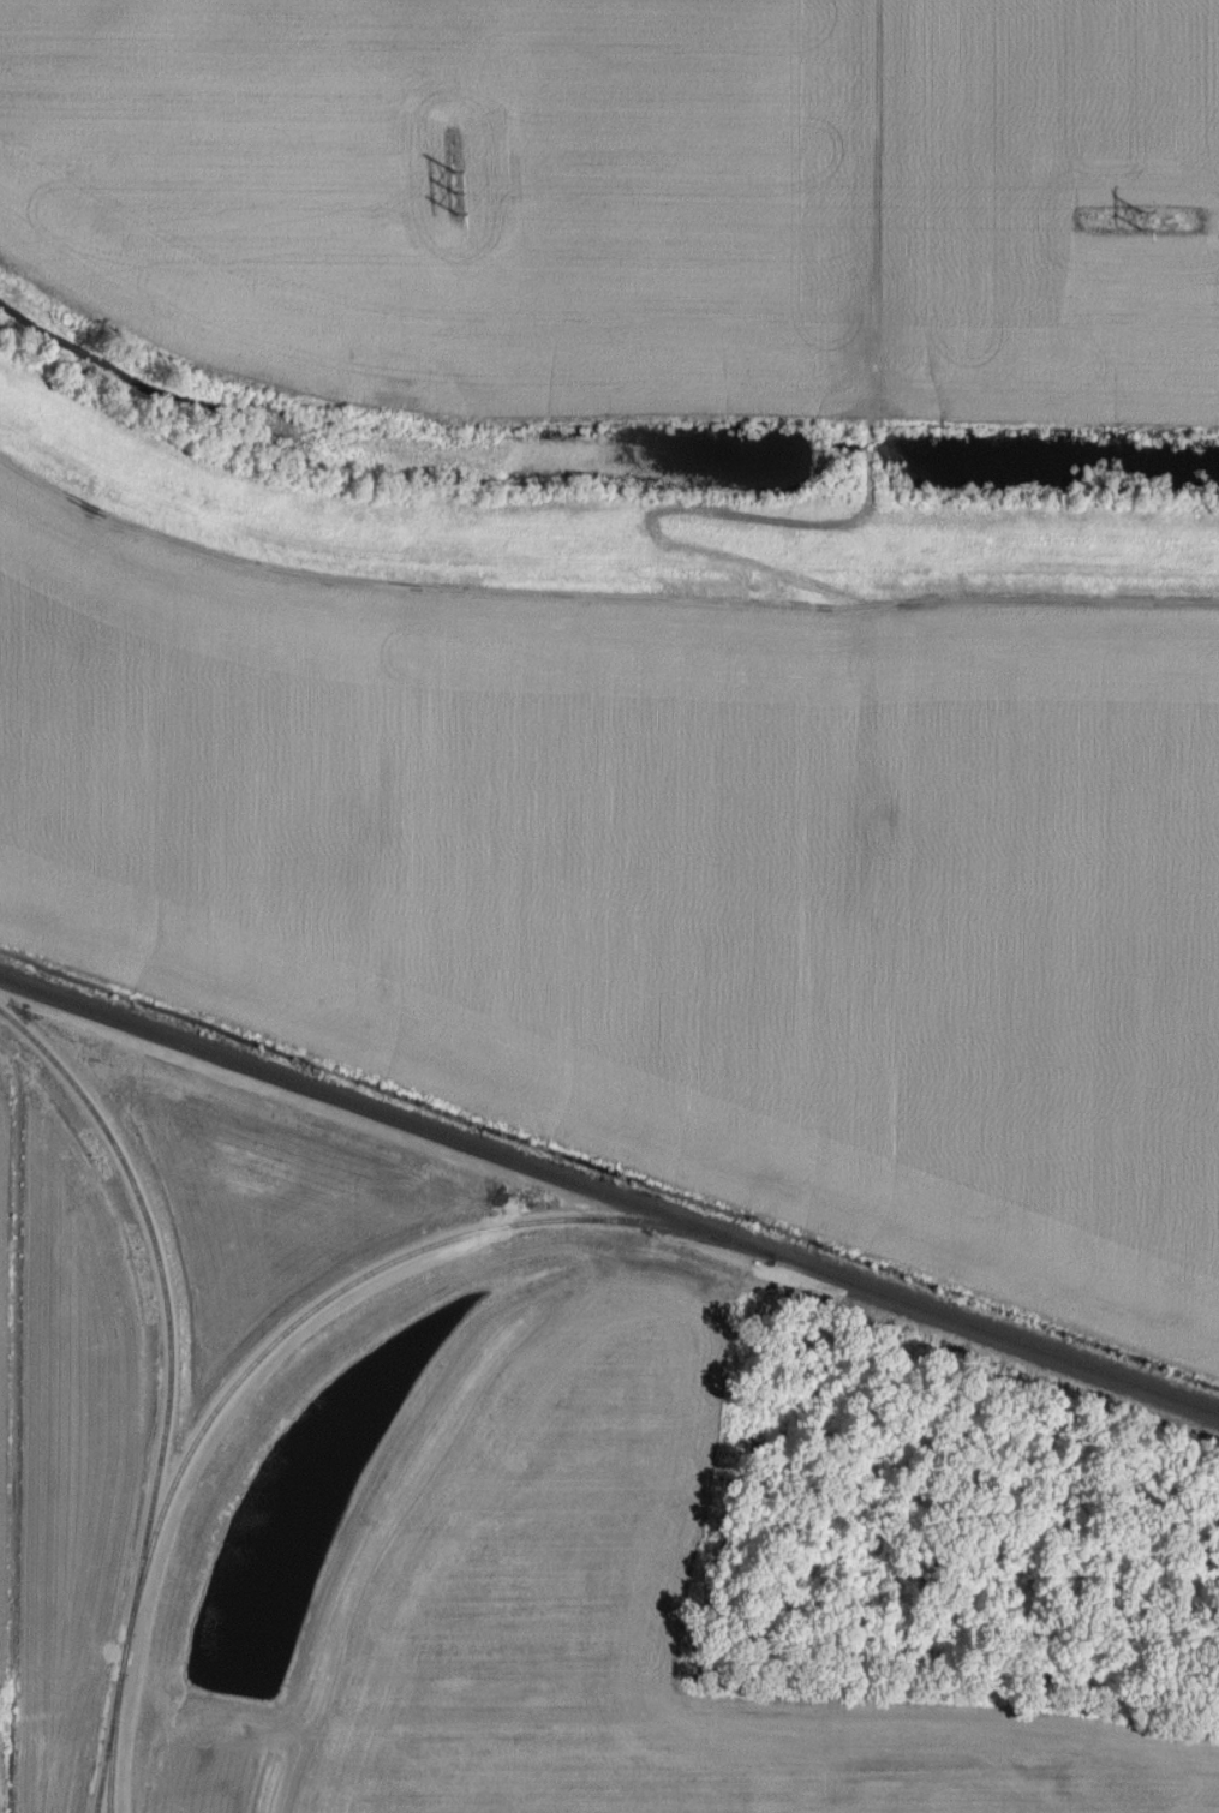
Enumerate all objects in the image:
power tower: (454, 198)
power tower: (1140, 223)
road: (871, 498)
road: (1038, 527)
road: (597, 596)
road: (26, 1046)
railway: (609, 1195)
road: (16, 1429)

